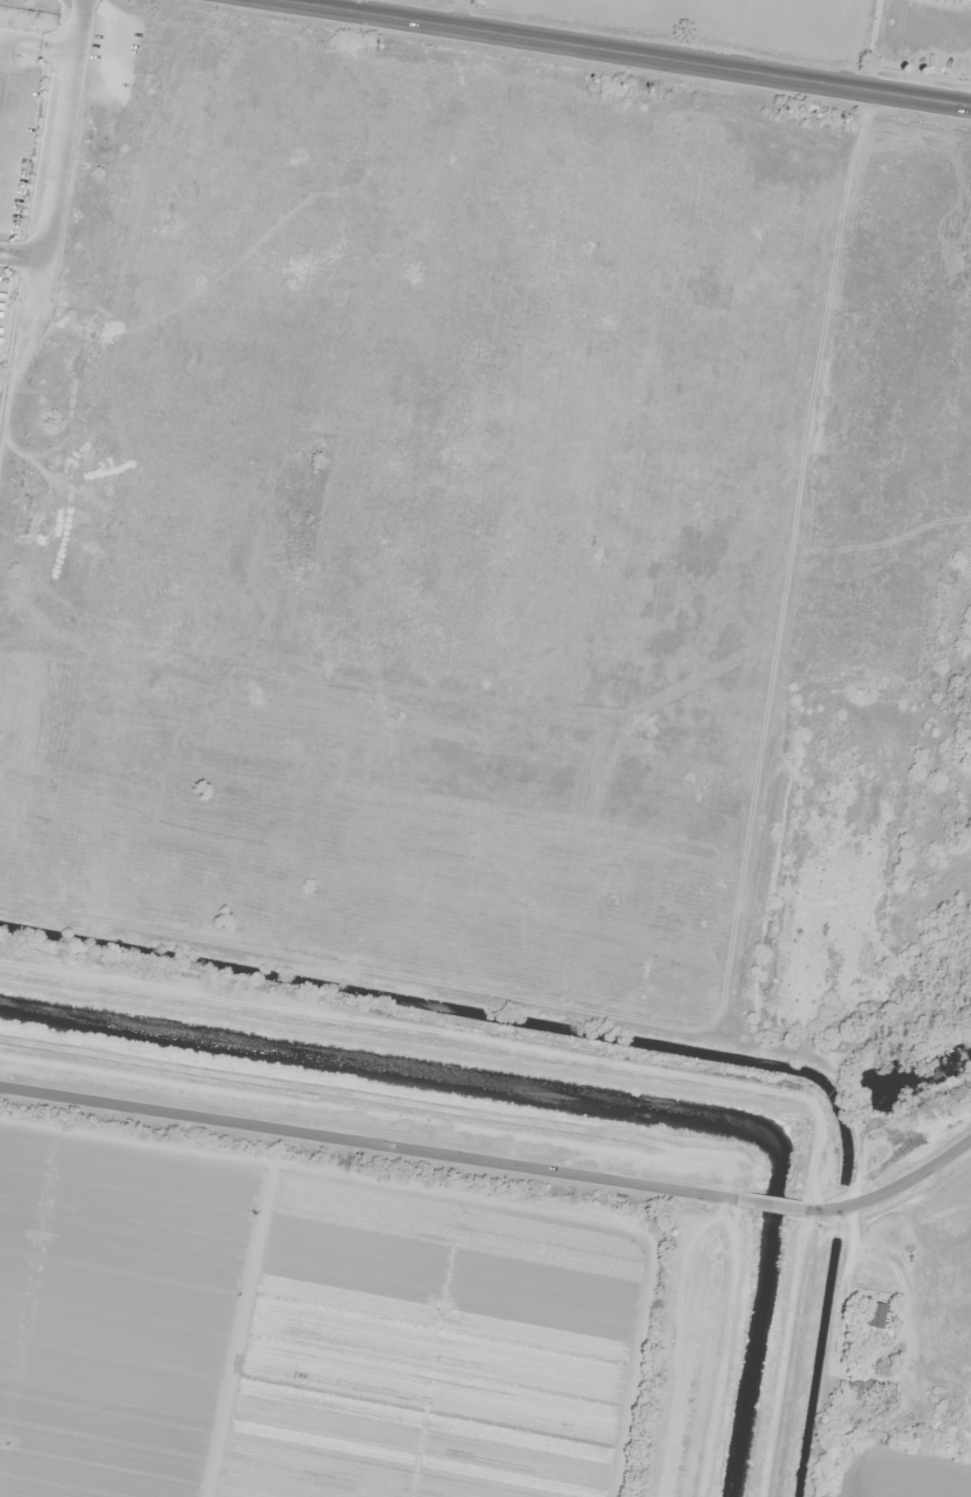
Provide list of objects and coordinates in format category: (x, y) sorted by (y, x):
road: (629, 52)
building: (146, 92)
road: (368, 1143)
road: (889, 1184)
road: (769, 1204)
building: (871, 1315)
building: (862, 1385)

